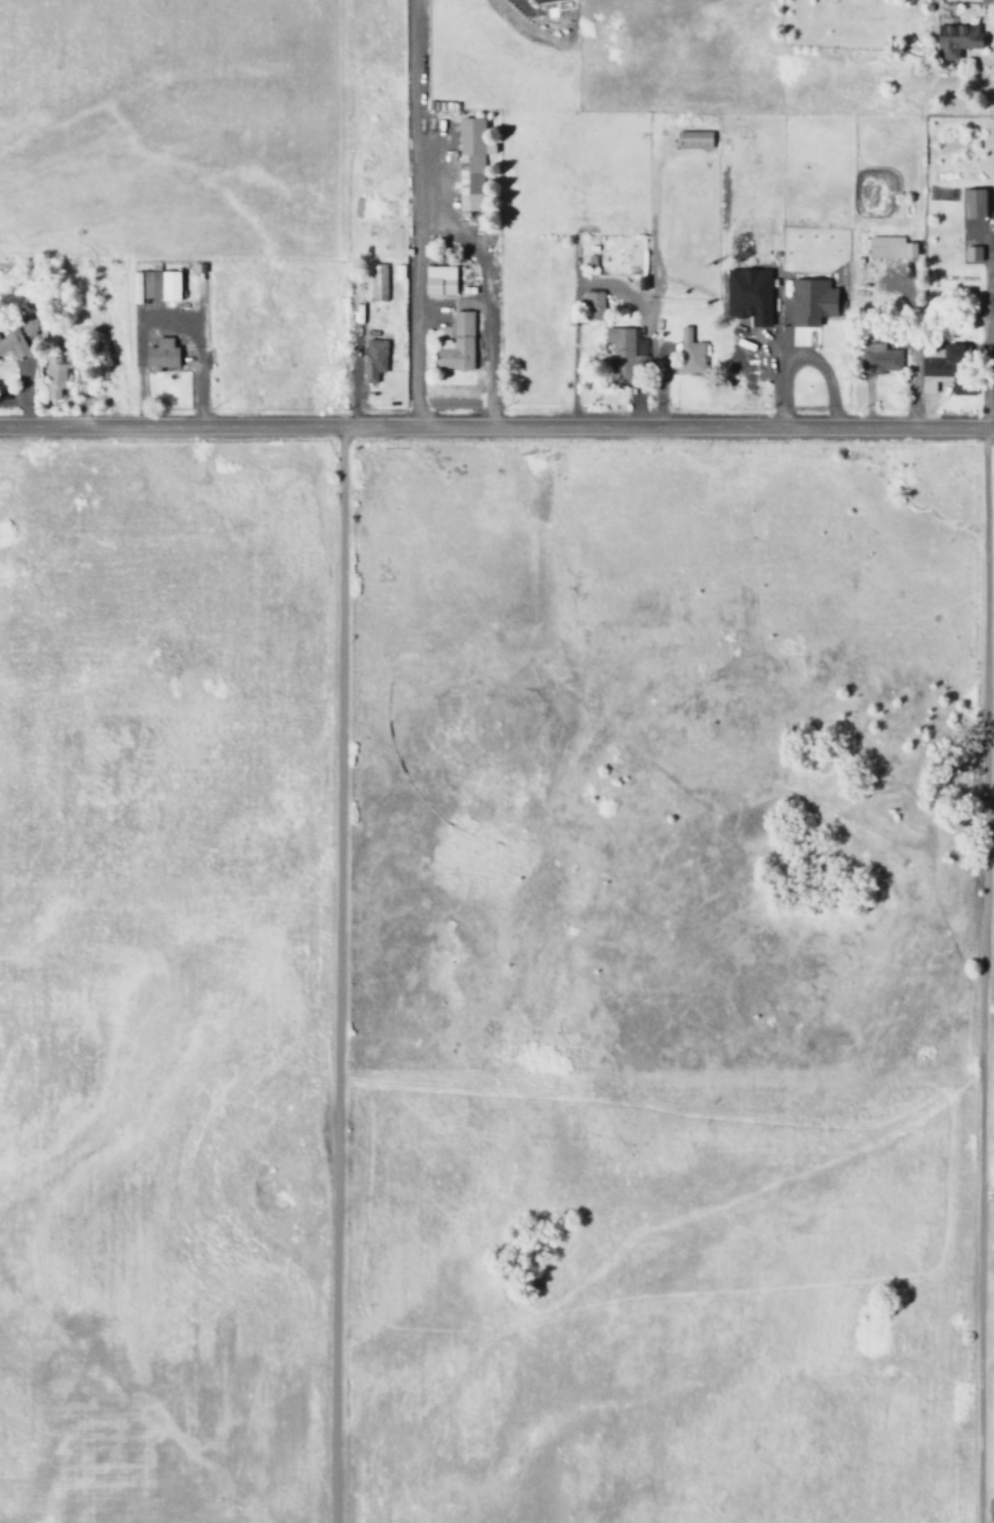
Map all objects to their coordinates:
building: (543, 1)
building: (986, 2)
building: (956, 41)
building: (692, 139)
building: (470, 163)
building: (973, 202)
building: (357, 208)
road: (412, 212)
building: (890, 247)
building: (971, 252)
building: (398, 272)
building: (439, 280)
building: (376, 282)
building: (154, 284)
building: (811, 301)
building: (593, 305)
building: (27, 324)
building: (624, 341)
building: (12, 344)
building: (456, 344)
building: (688, 352)
building: (160, 354)
building: (372, 359)
building: (878, 359)
building: (945, 371)
building: (54, 376)
road: (496, 422)
road: (982, 788)
road: (337, 972)
road: (982, 1337)

